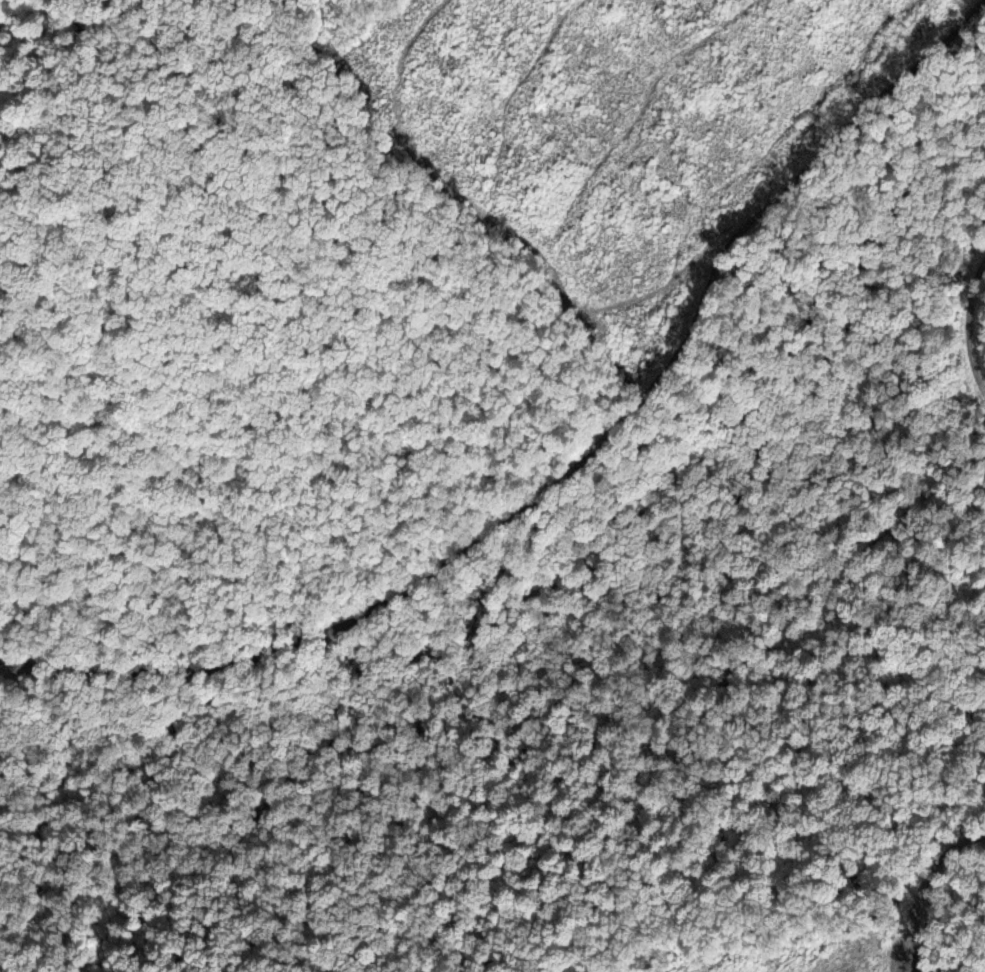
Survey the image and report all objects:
road: (978, 350)
road: (572, 468)
road: (940, 909)

